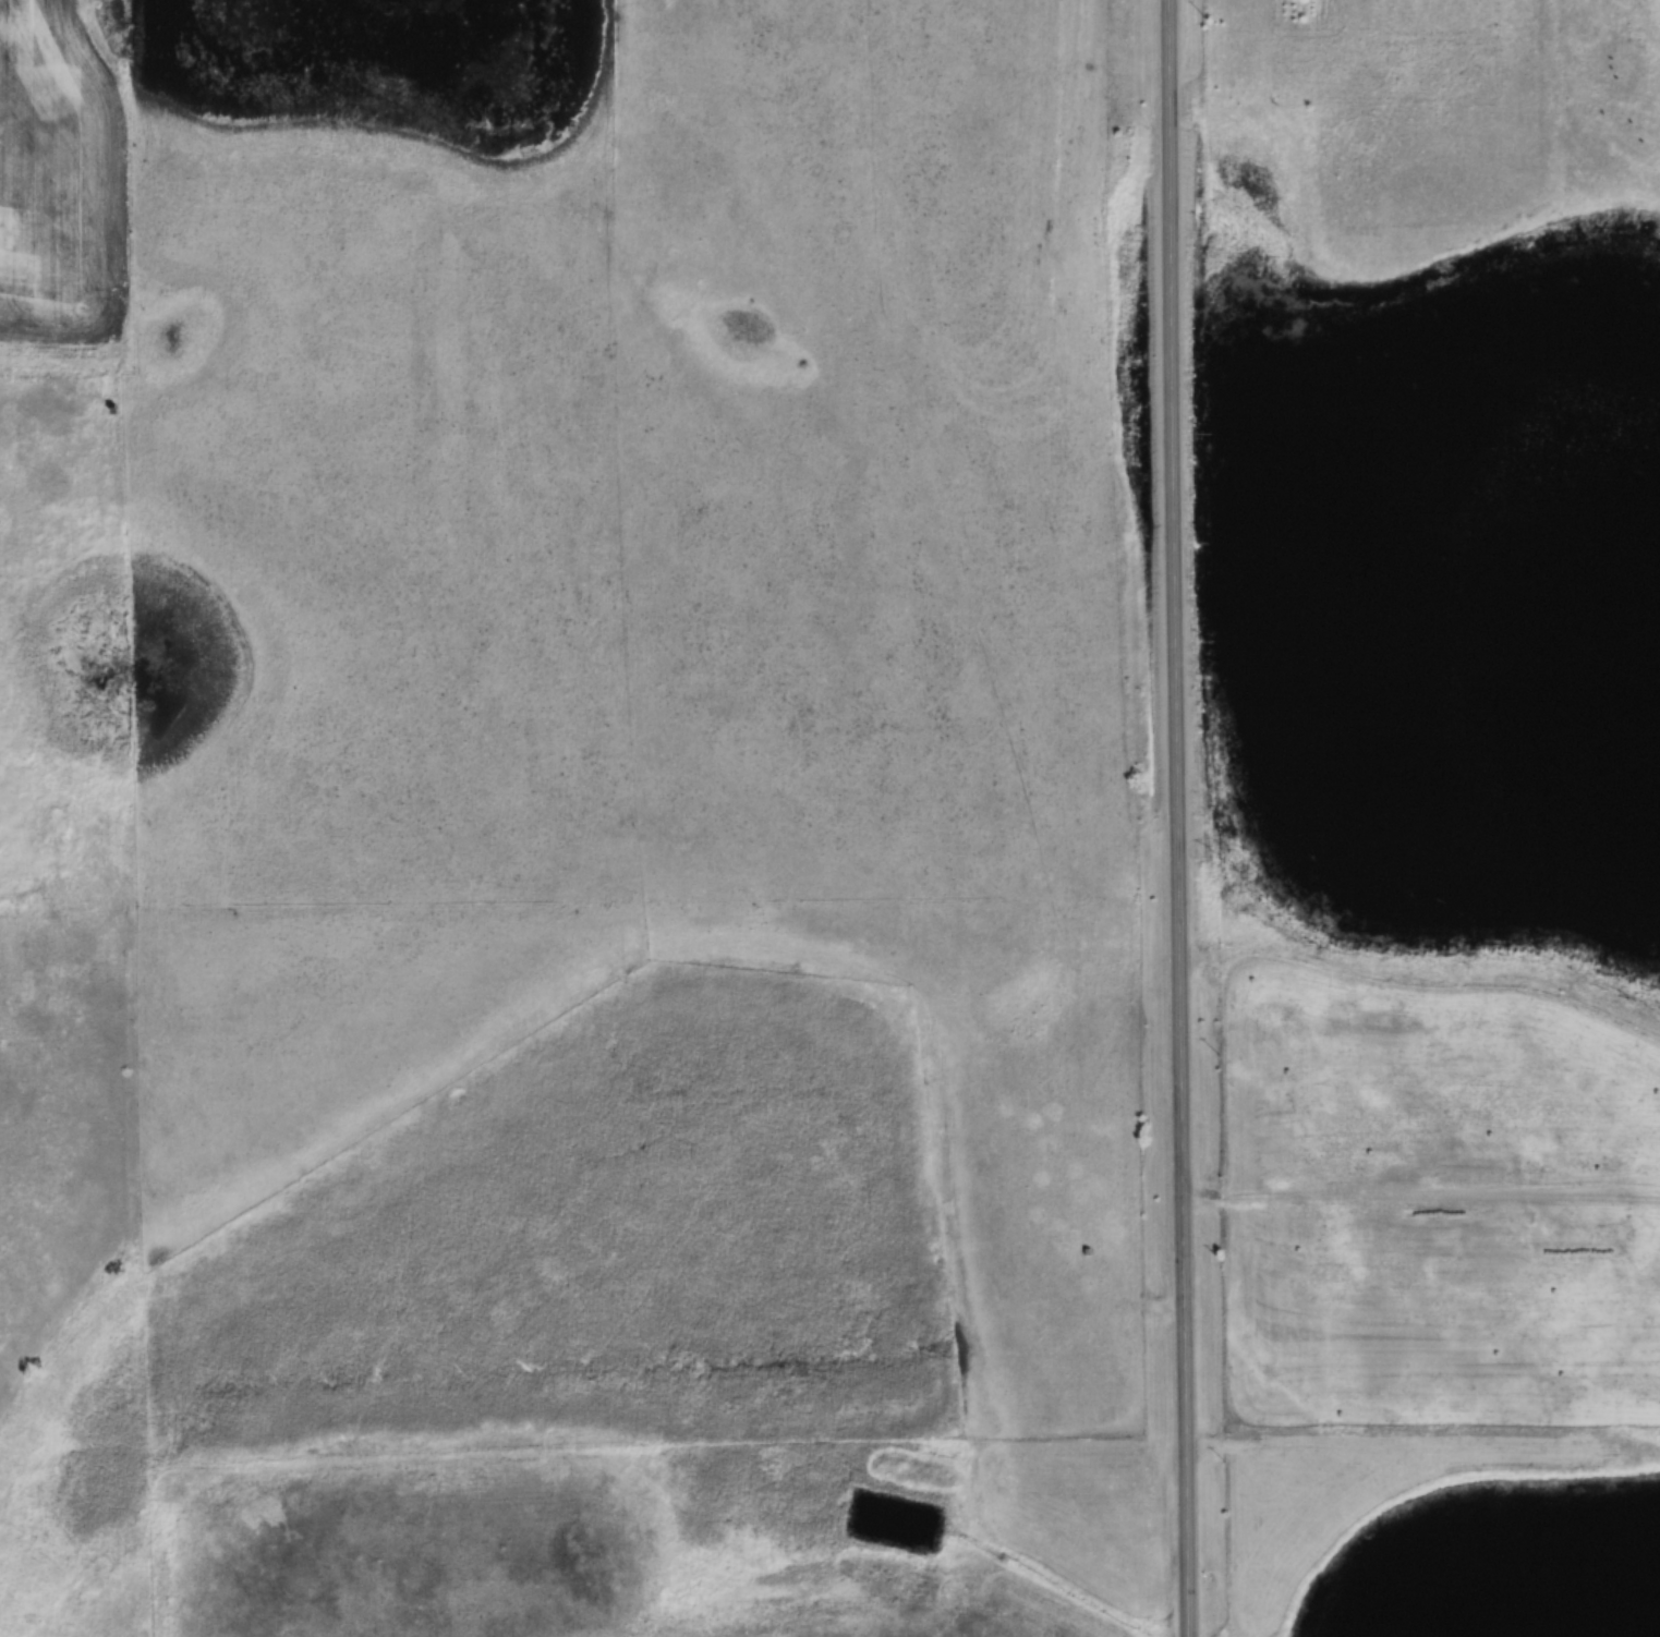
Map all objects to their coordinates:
road: (1183, 818)

